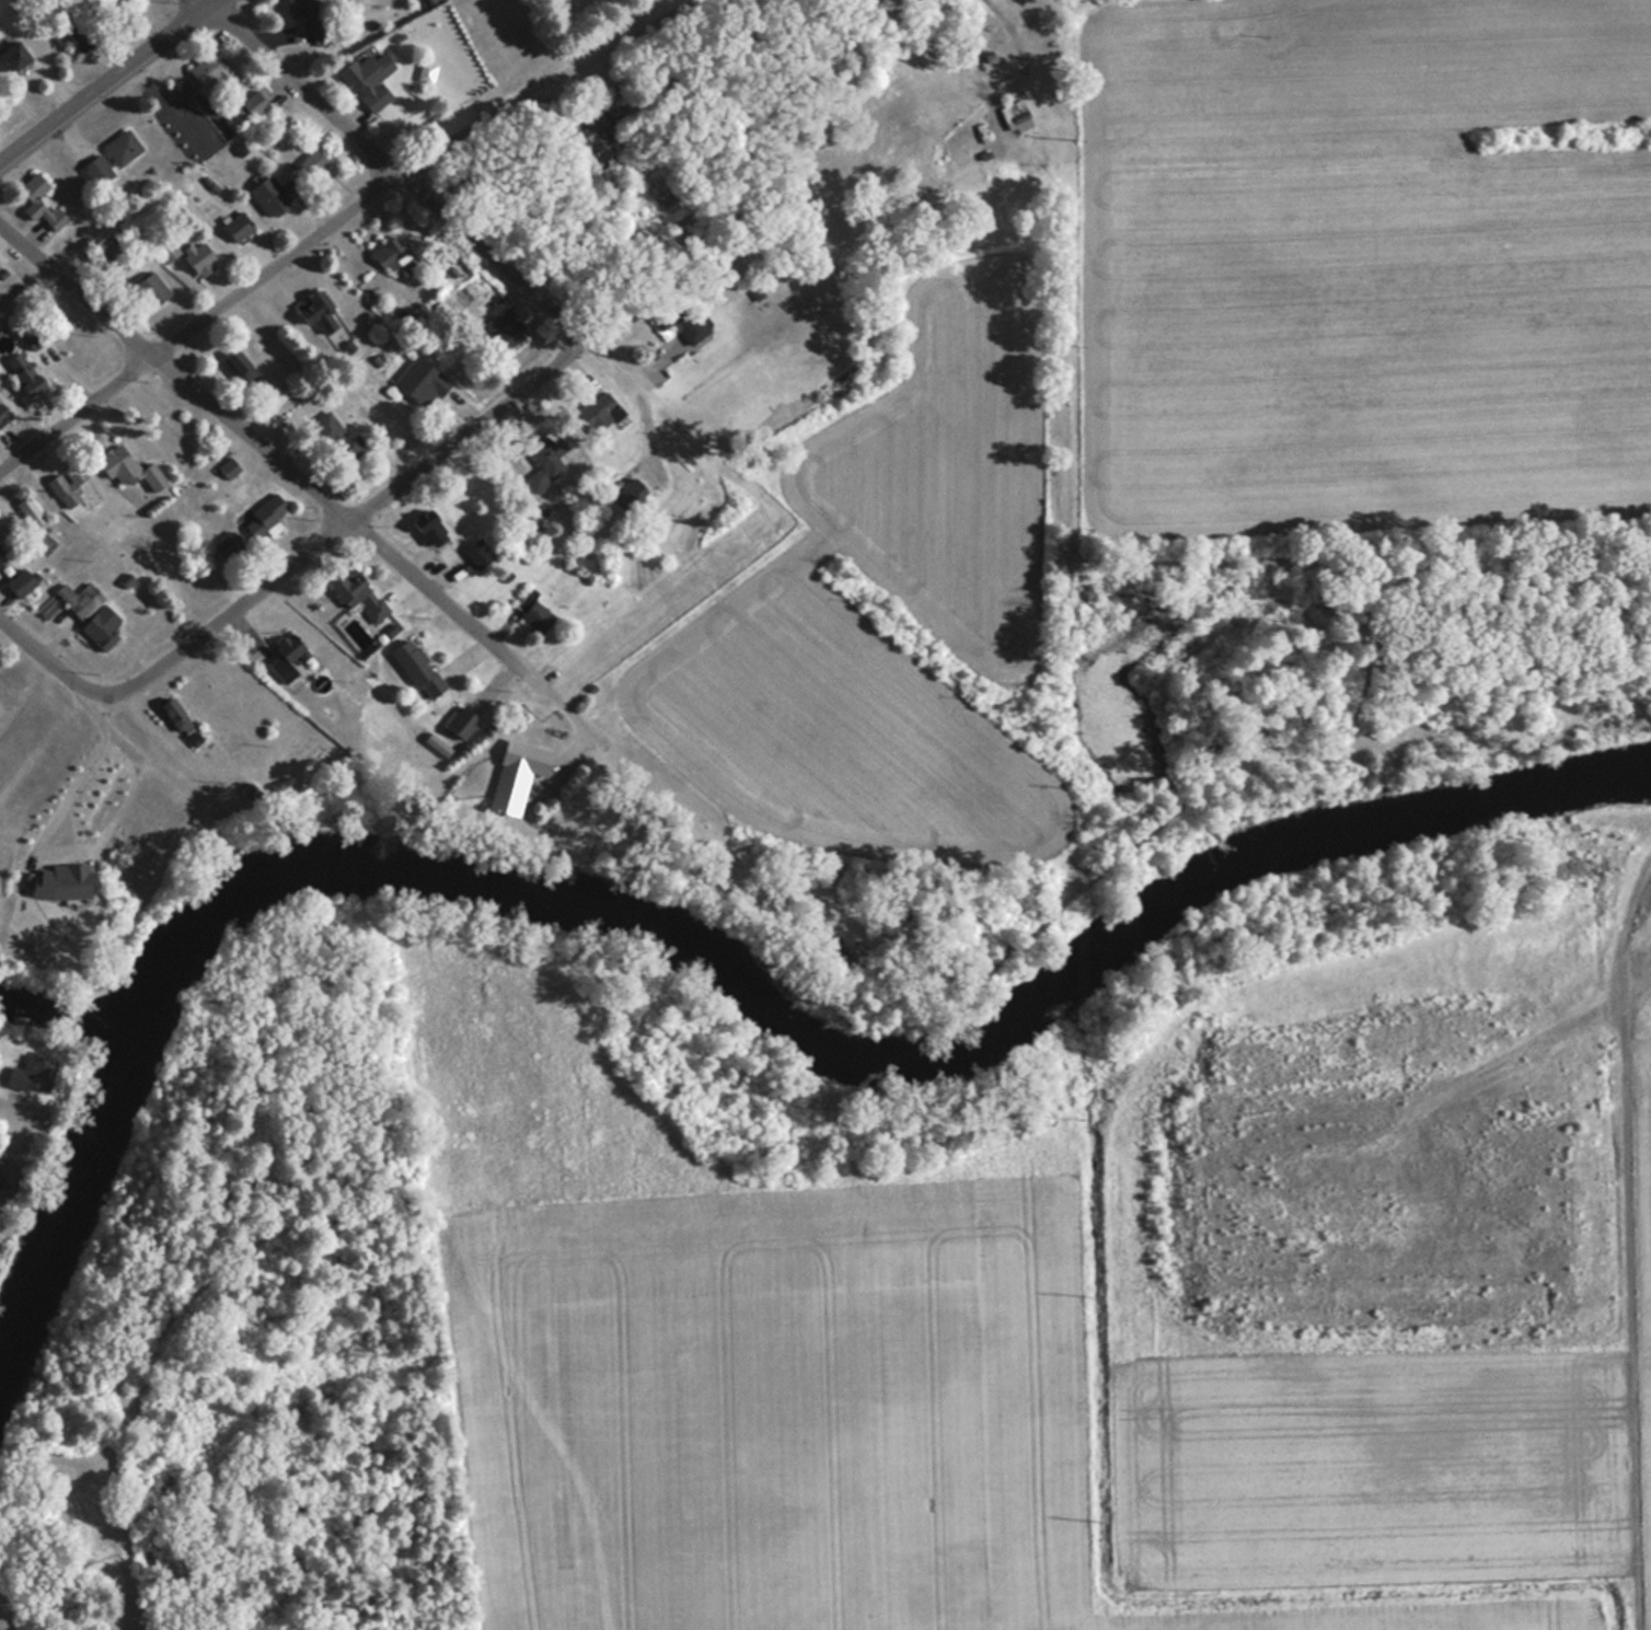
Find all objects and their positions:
building: (307, 16)
building: (80, 36)
building: (13, 55)
building: (209, 71)
building: (369, 80)
road: (108, 81)
building: (252, 106)
building: (1016, 117)
building: (597, 138)
building: (123, 148)
building: (315, 161)
road: (400, 167)
building: (99, 170)
building: (275, 194)
building: (41, 203)
road: (342, 219)
building: (238, 227)
building: (168, 250)
building: (108, 254)
building: (390, 254)
building: (199, 257)
building: (151, 290)
building: (317, 312)
building: (681, 321)
building: (508, 328)
building: (34, 342)
building: (241, 368)
building: (25, 374)
building: (422, 383)
building: (278, 396)
building: (603, 414)
building: (1, 415)
building: (337, 440)
building: (550, 454)
building: (126, 467)
road: (324, 483)
building: (68, 485)
building: (268, 510)
building: (30, 511)
road: (346, 528)
building: (430, 532)
building: (43, 542)
building: (227, 546)
building: (480, 554)
building: (2, 557)
building: (20, 582)
building: (358, 594)
building: (84, 613)
building: (534, 613)
road: (470, 654)
building: (287, 657)
road: (47, 658)
building: (418, 670)
building: (177, 718)
building: (461, 724)
building: (517, 774)
building: (250, 791)
building: (66, 879)
river: (712, 964)
building: (25, 1065)
building: (8, 1172)

